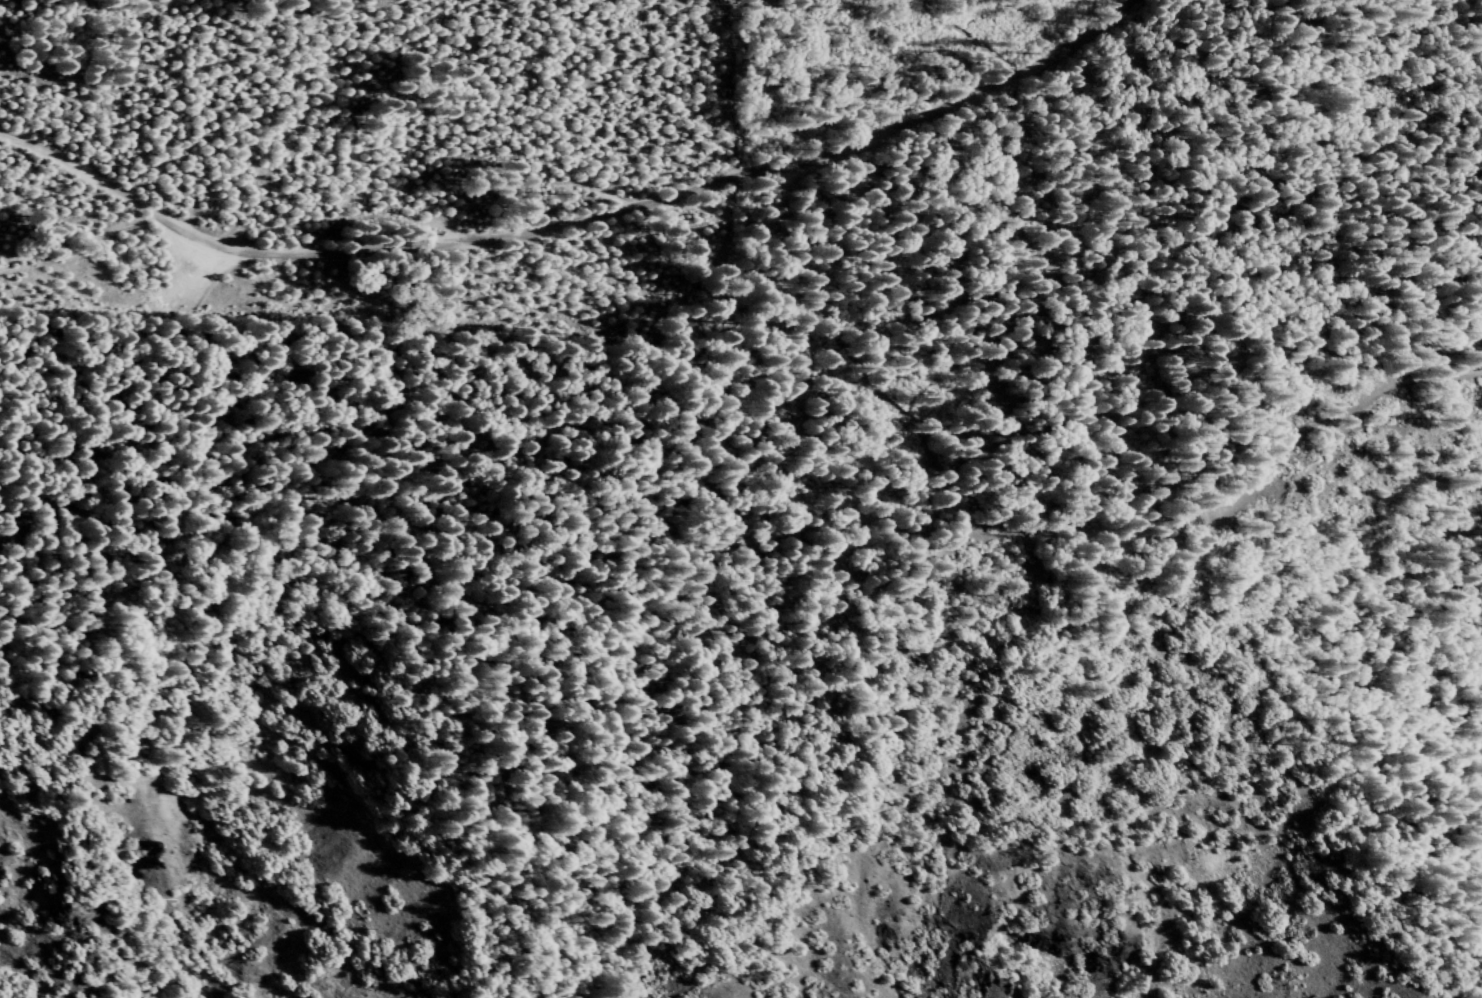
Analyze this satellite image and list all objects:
road: (575, 223)
road: (1041, 522)

